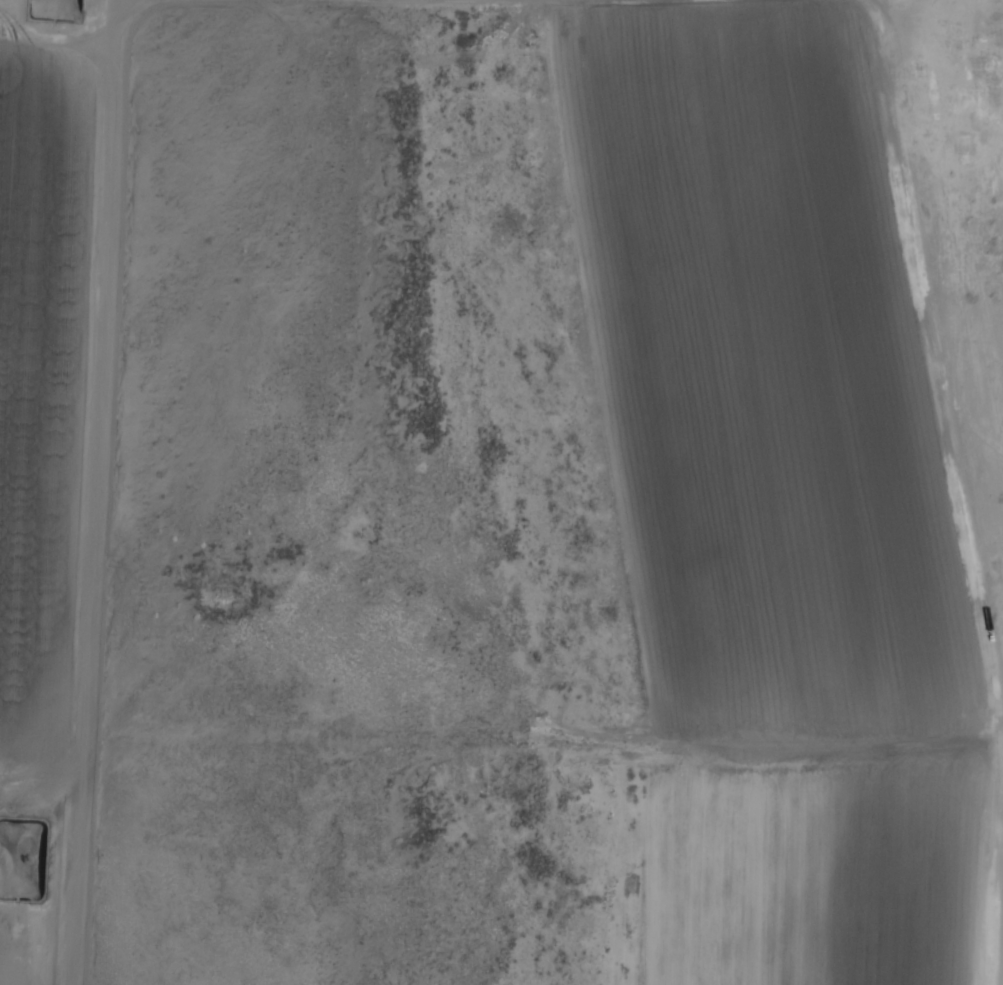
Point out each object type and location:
landfill: (41, 370)
landfill: (767, 370)
landfill: (800, 874)
landfill: (13, 962)

